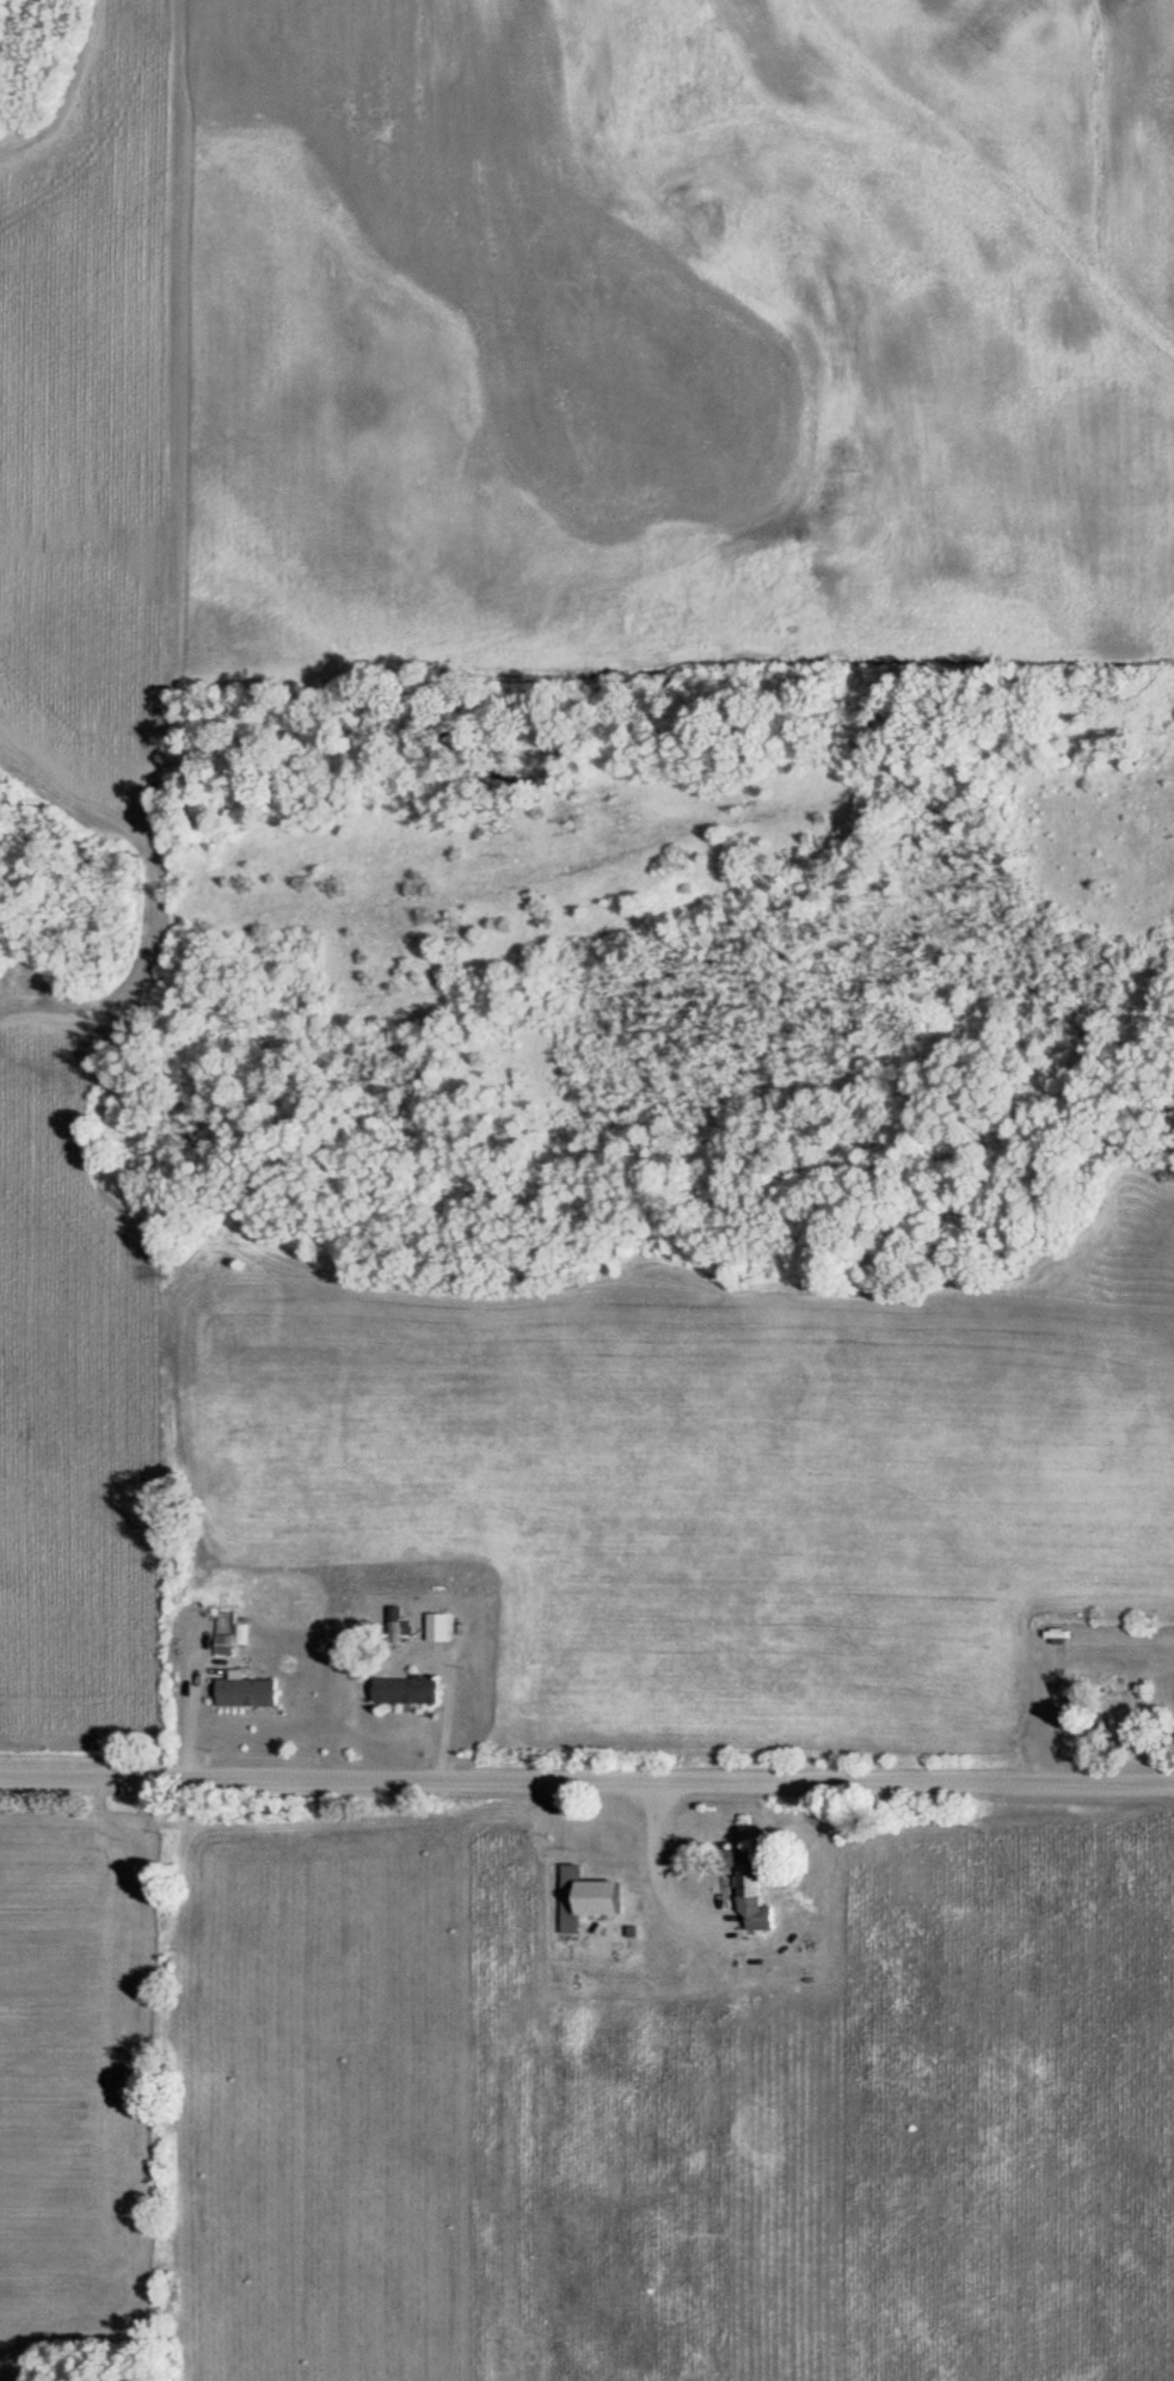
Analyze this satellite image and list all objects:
building: (401, 1628)
building: (442, 1630)
building: (228, 1647)
building: (410, 1693)
building: (251, 1695)
road: (586, 1786)
building: (755, 1892)
building: (591, 1902)

